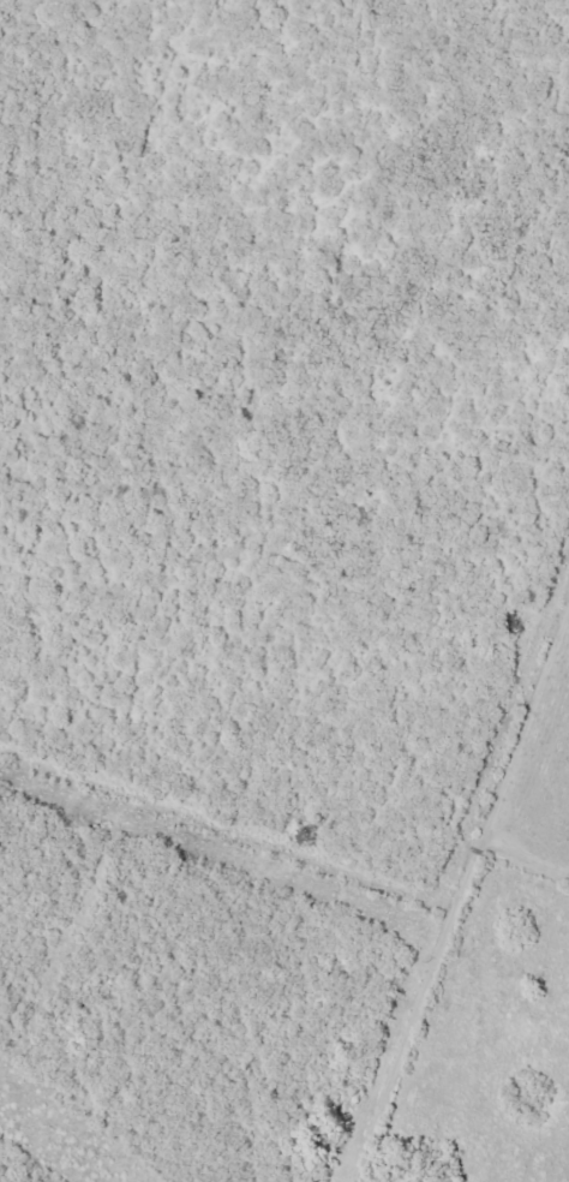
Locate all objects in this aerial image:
road: (467, 906)

